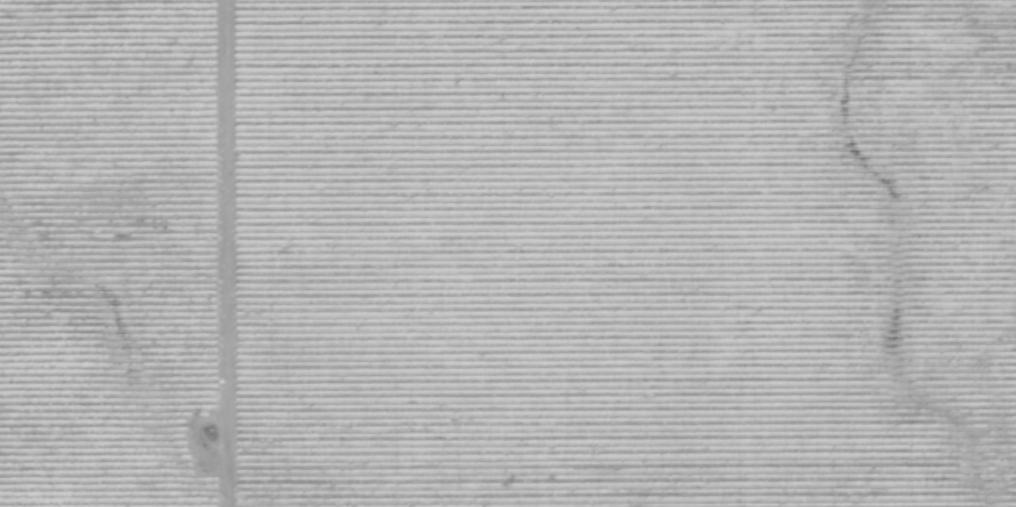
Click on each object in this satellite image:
crop: (508, 253)

